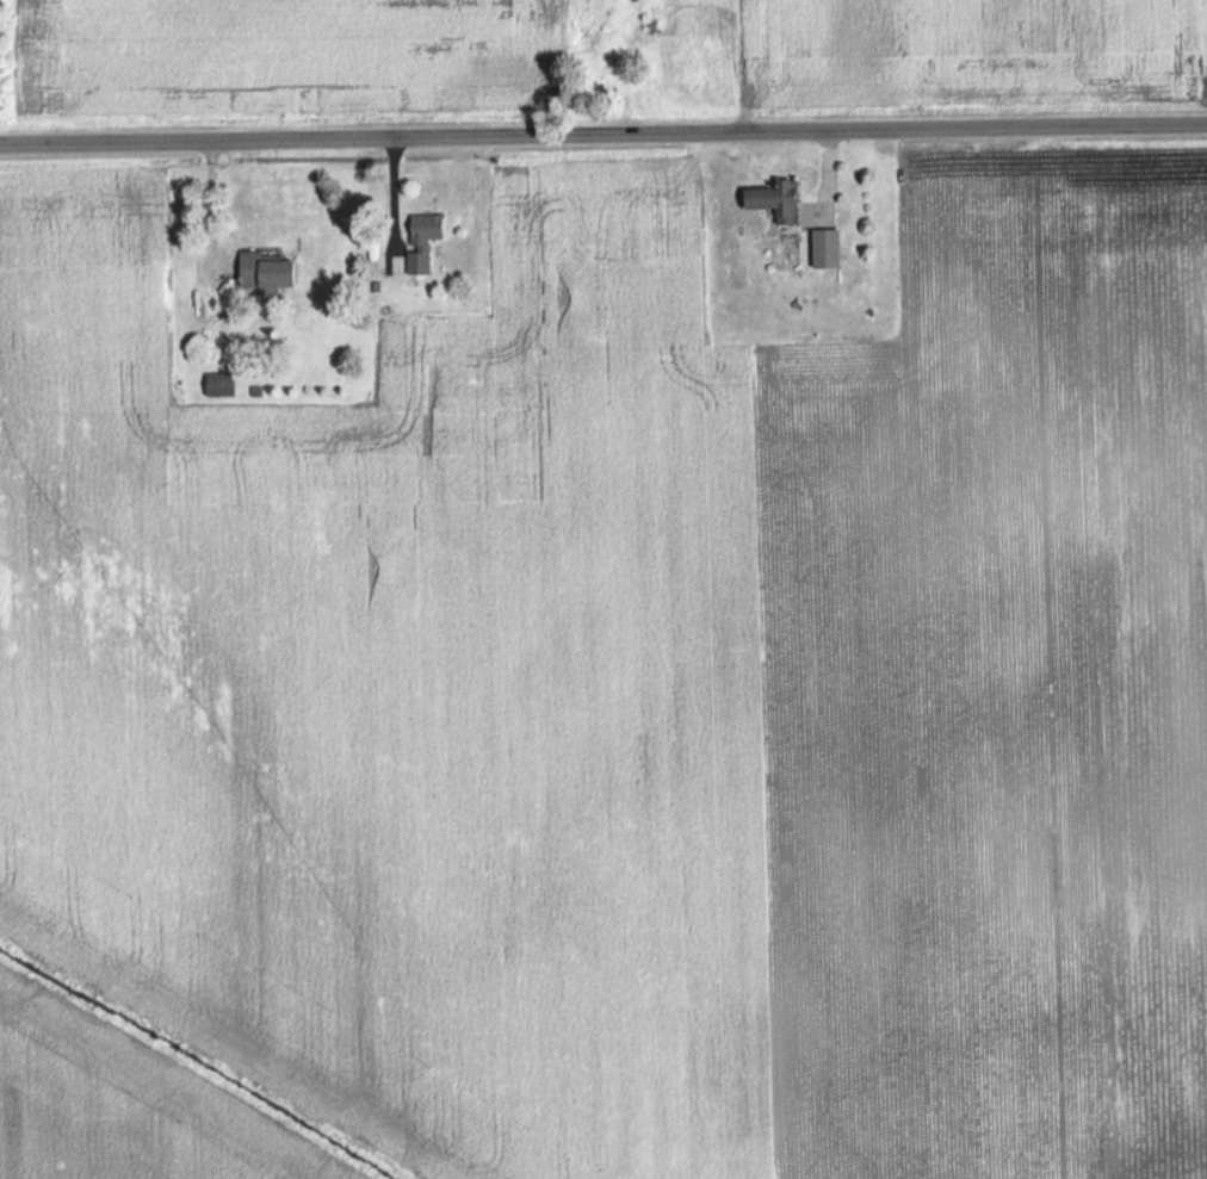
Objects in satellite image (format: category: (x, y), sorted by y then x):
road: (602, 132)
building: (766, 200)
road: (211, 203)
building: (426, 228)
building: (817, 248)
building: (271, 274)
building: (219, 384)

